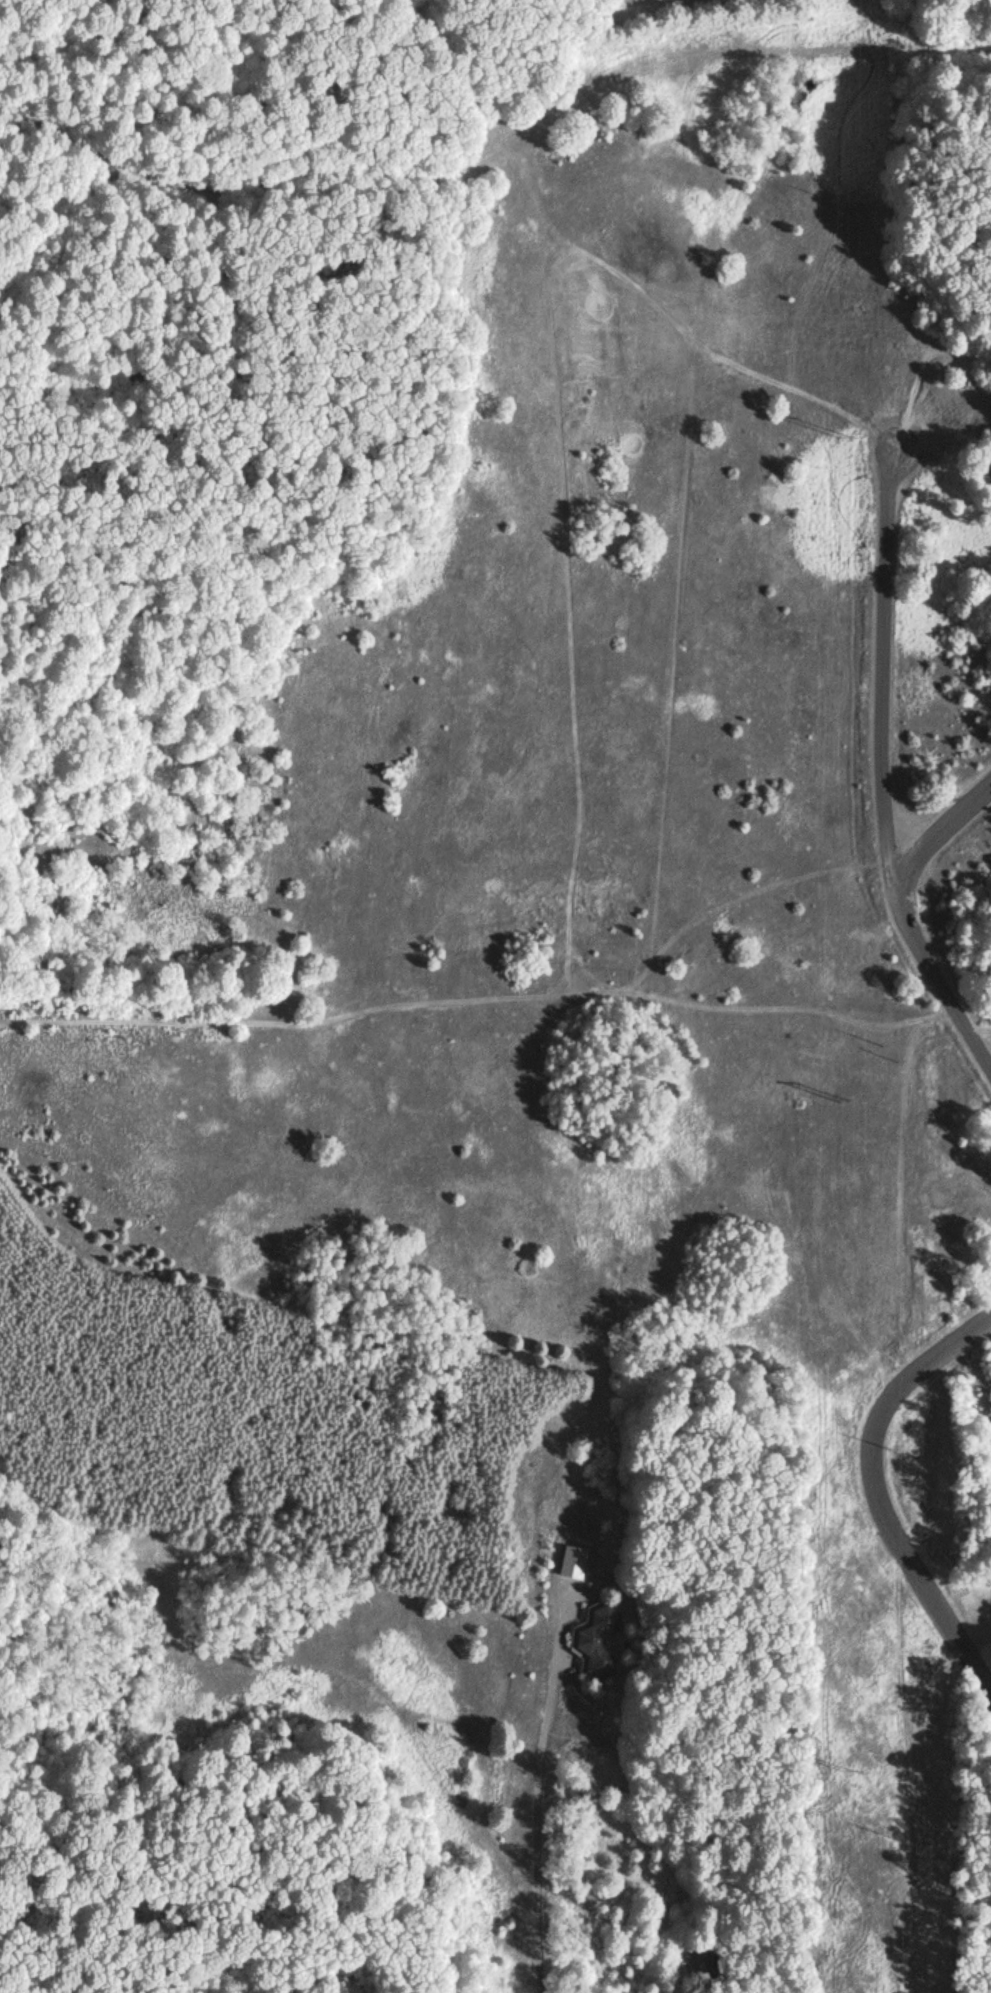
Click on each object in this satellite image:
road: (921, 50)
road: (680, 59)
road: (44, 127)
road: (308, 179)
road: (45, 199)
road: (888, 774)
road: (944, 822)
power tower: (850, 1101)
road: (875, 1489)
building: (594, 1641)
power tower: (856, 1768)
road: (543, 1782)

